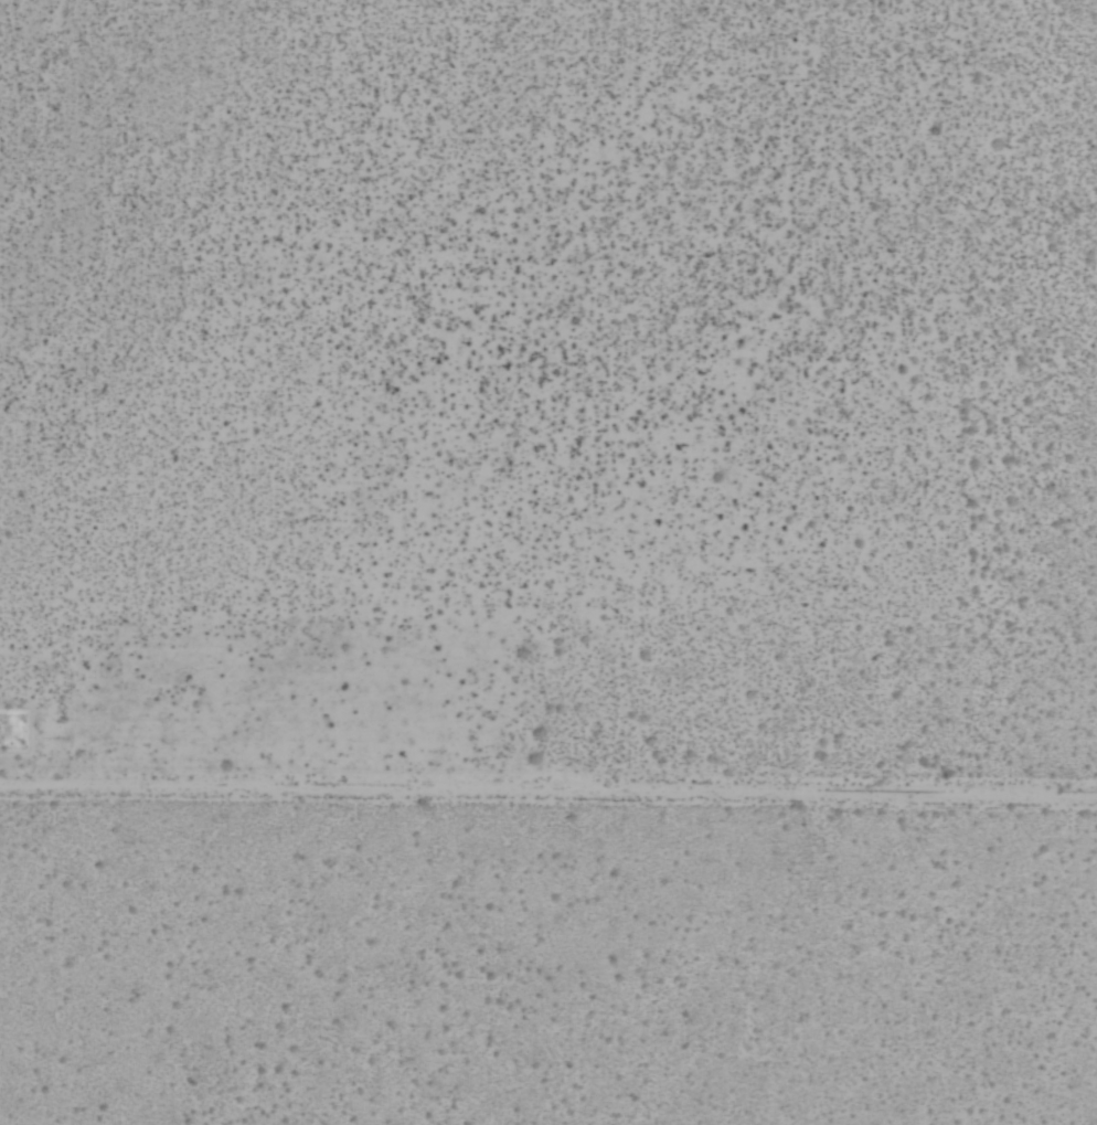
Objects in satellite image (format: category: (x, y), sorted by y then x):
airport: (548, 562)

